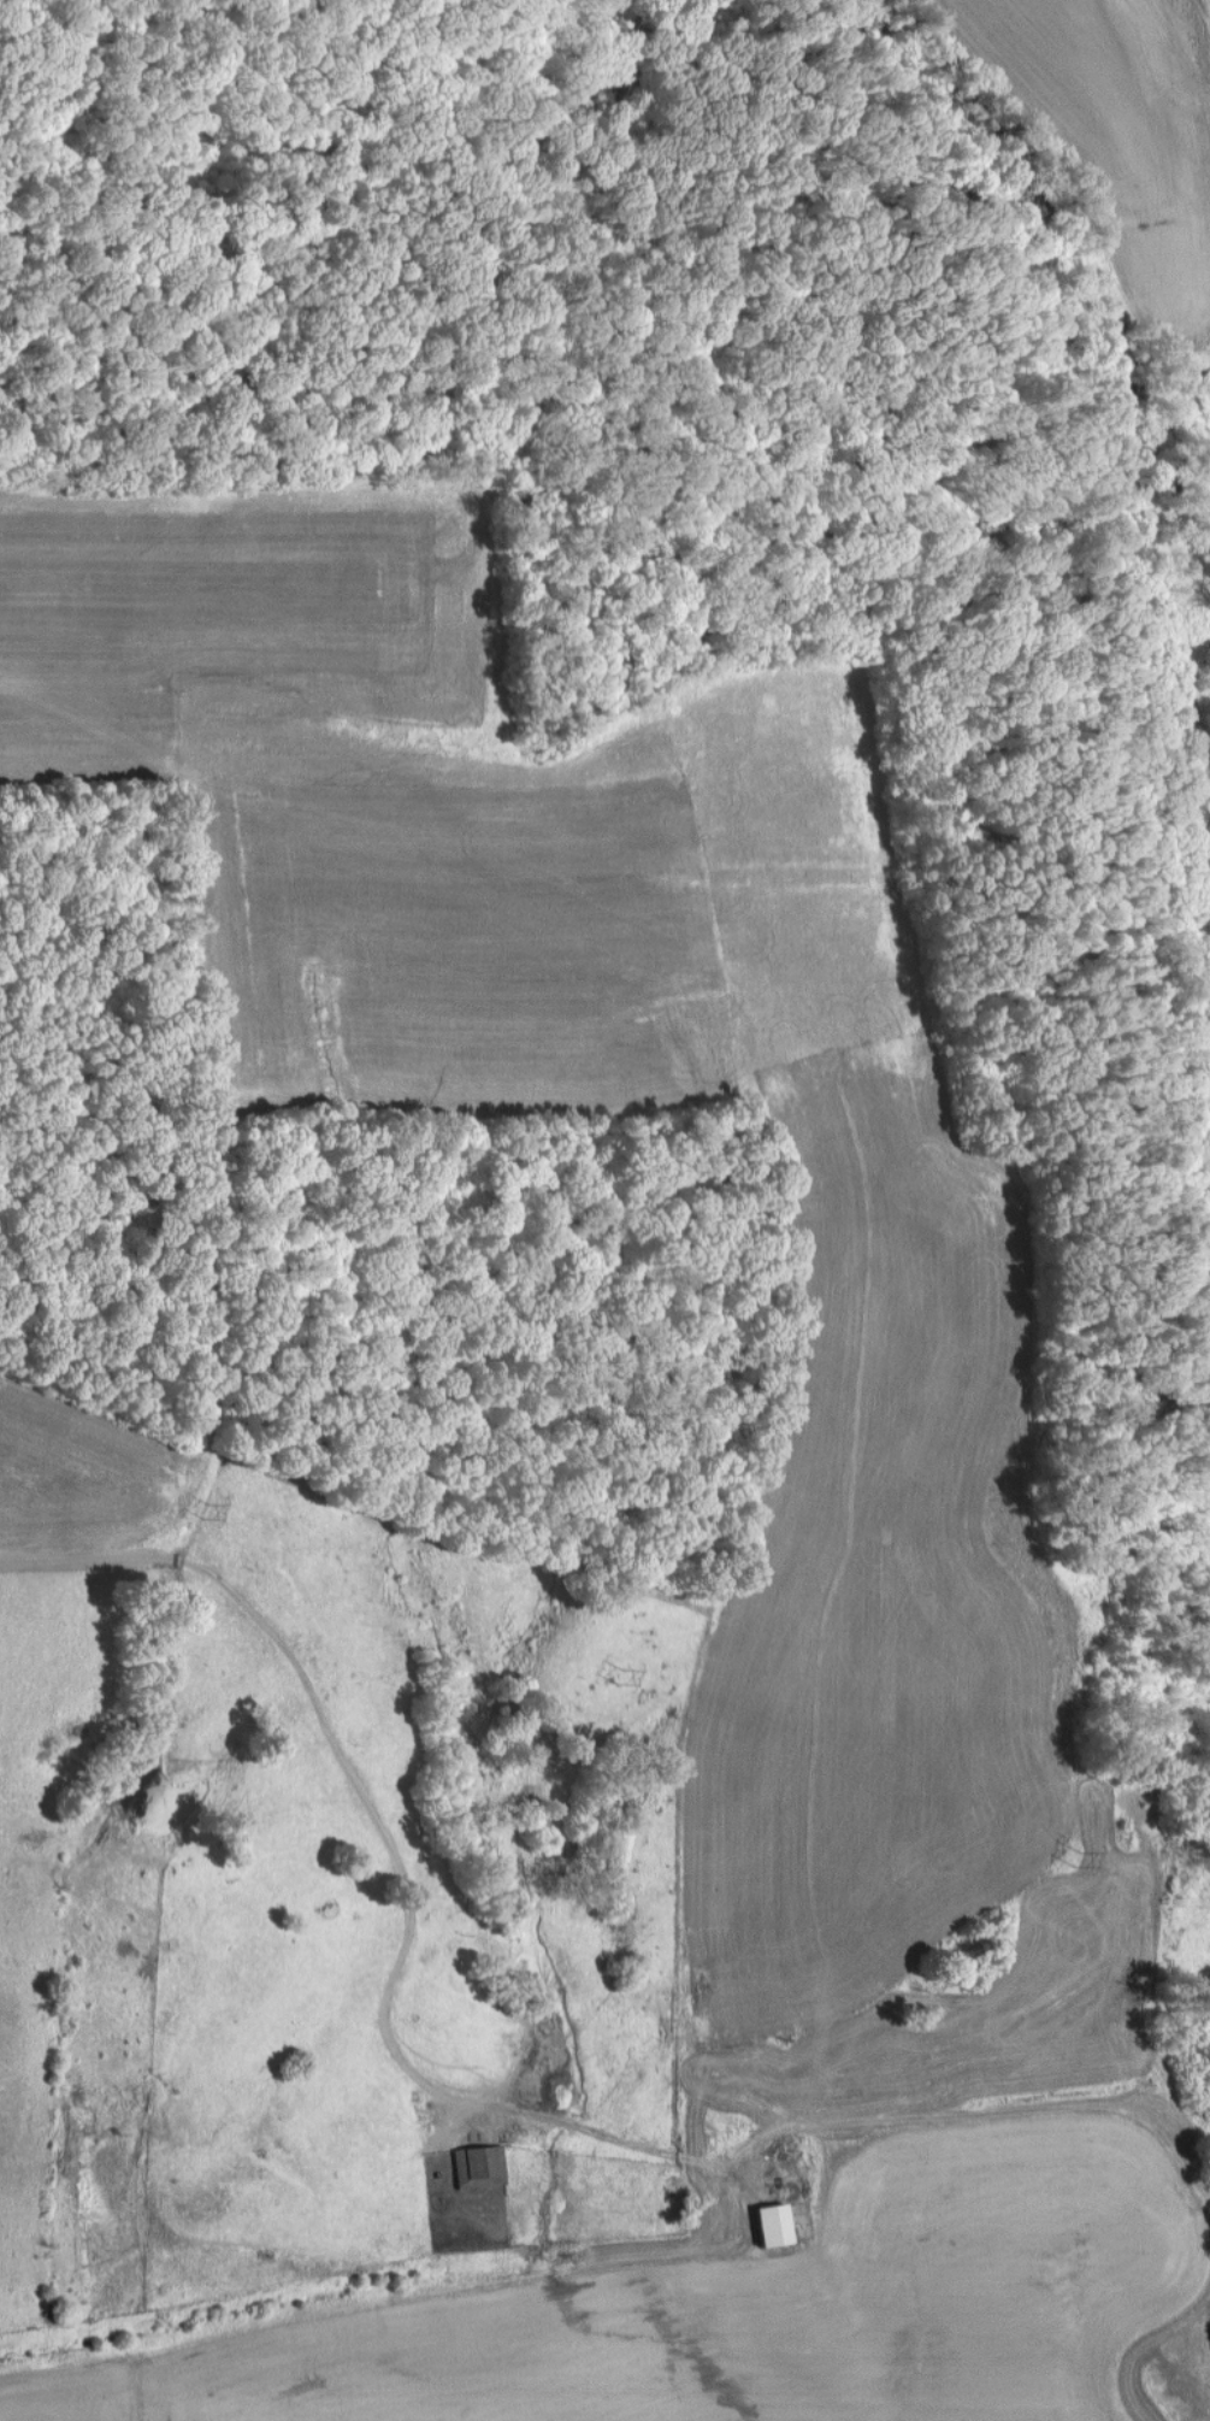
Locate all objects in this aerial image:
power tower: (205, 1510)
power tower: (618, 1677)
power tower: (1080, 1860)
road: (391, 1875)
building: (479, 2166)
building: (773, 2225)

